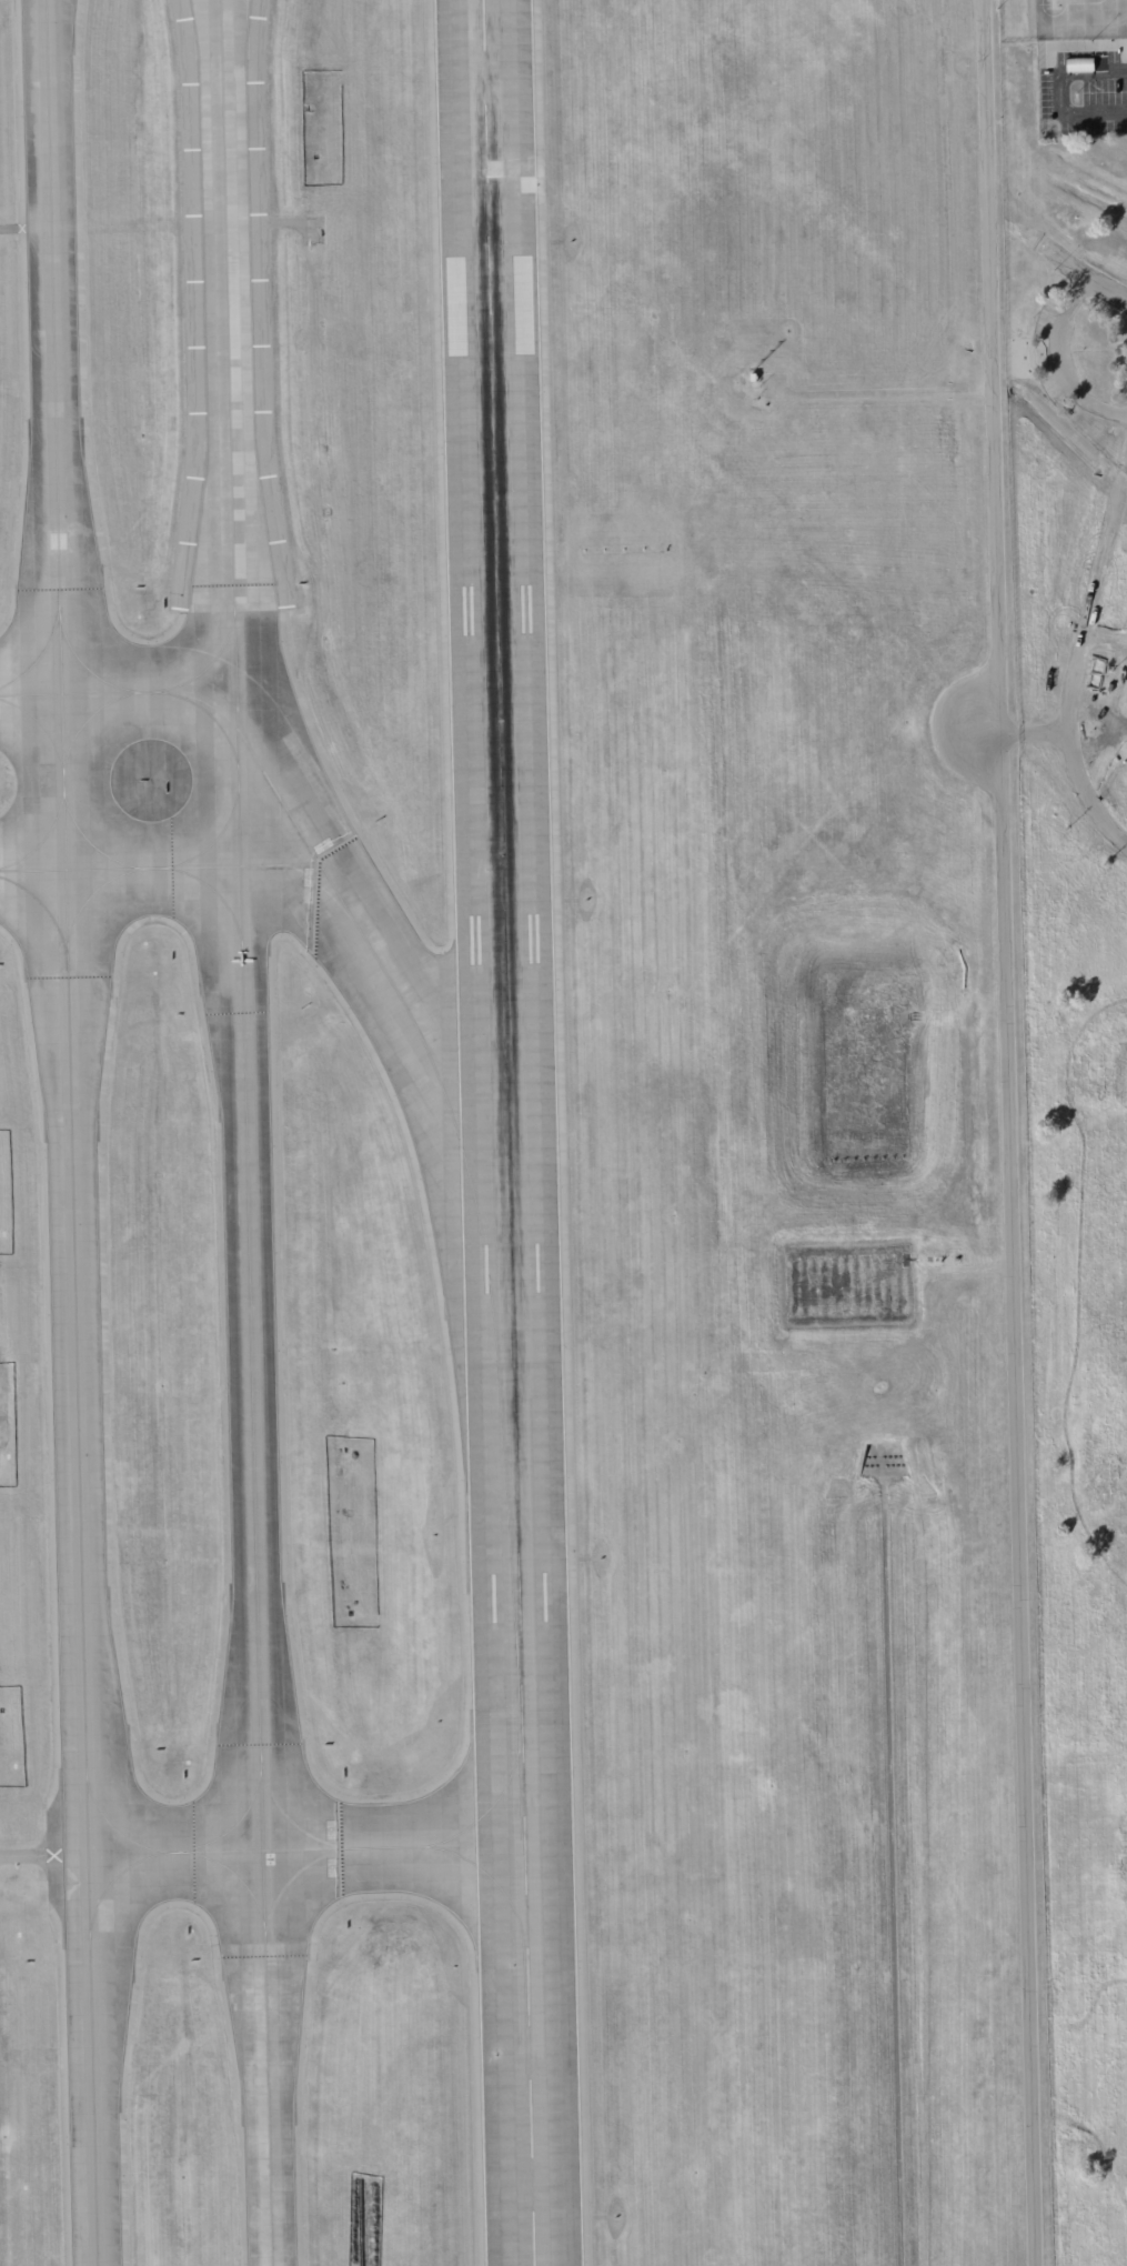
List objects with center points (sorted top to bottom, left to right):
airport apron: (1081, 20)
road: (1063, 91)
road: (1085, 275)
parking lot: (1059, 353)
road: (1060, 361)
building: (754, 378)
airport taxiway: (227, 384)
airport taxiway: (40, 652)
airport taxiway: (212, 660)
road: (1081, 663)
airport taxiway: (84, 666)
airport taxiway: (84, 720)
airport taxiway: (239, 724)
airport taxiway: (41, 726)
road: (1038, 729)
airport taxiway: (42, 838)
airport taxiway: (213, 841)
airport taxiway: (88, 842)
airport taxiway: (159, 868)
airport taxiway: (214, 892)
airport taxiway: (88, 895)
airport taxiway: (44, 908)
airport taxiway: (434, 1073)
airport taxiway: (70, 1132)
road: (1009, 1132)
airport runway: (506, 1133)
airport: (563, 1133)
building: (957, 1261)
airport taxiway: (252, 1458)
airport taxiway: (516, 1753)
airport taxiway: (288, 1818)
airport taxiway: (233, 1824)
airport taxiway: (381, 1847)
airport taxiway: (235, 1875)
airport taxiway: (291, 1876)
airport taxiway: (112, 1878)

